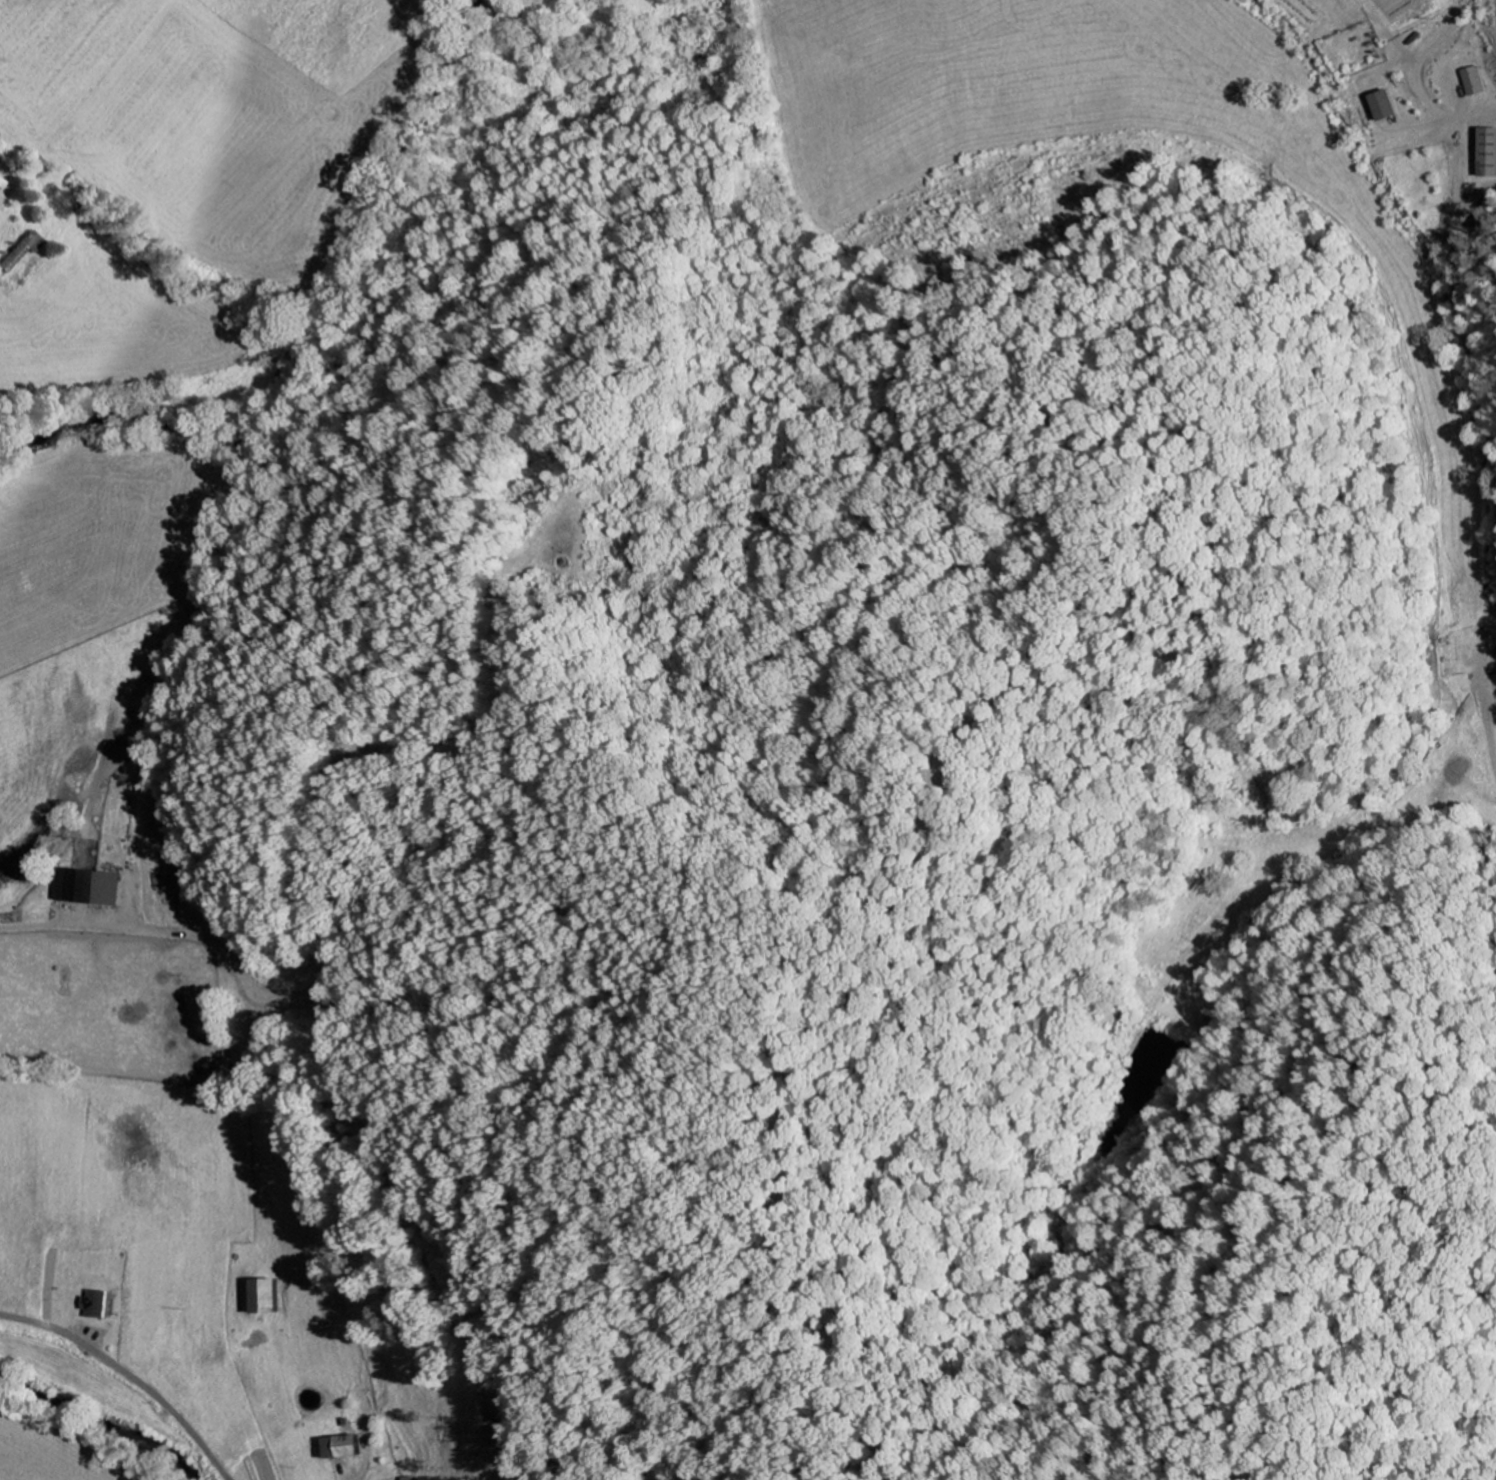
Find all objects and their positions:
building: (1472, 81)
building: (1383, 106)
building: (1487, 153)
building: (0, 177)
building: (21, 254)
building: (86, 889)
building: (263, 1299)
building: (94, 1306)
road: (130, 1375)
building: (341, 1449)

